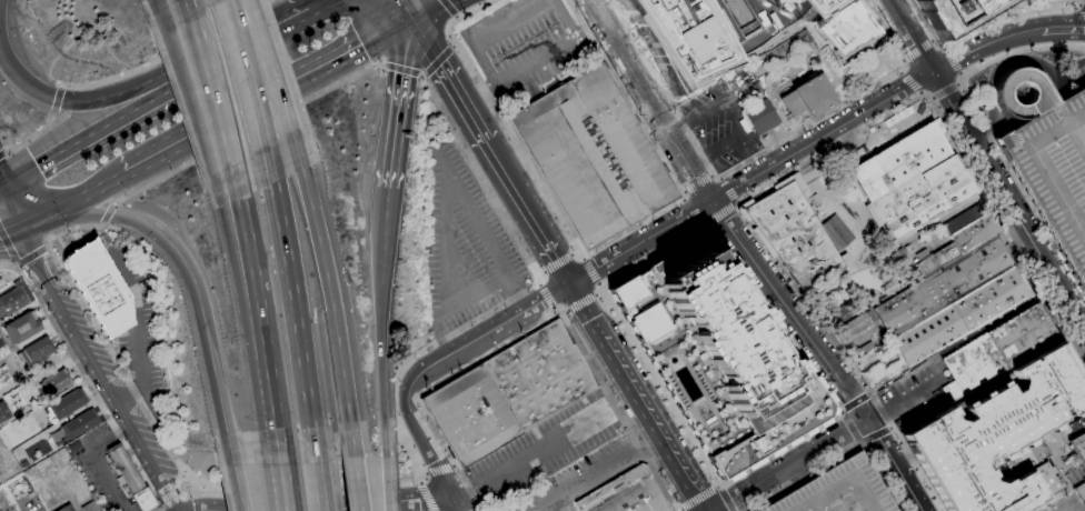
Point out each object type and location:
road: (272, 0)
road: (1077, 2)
road: (158, 4)
road: (1082, 4)
road: (325, 6)
road: (1004, 8)
road: (404, 9)
road: (427, 9)
road: (448, 9)
road: (1082, 10)
road: (1025, 13)
building: (954, 14)
traffic signals: (408, 18)
road: (299, 19)
road: (564, 19)
road: (1063, 27)
building: (847, 28)
building: (705, 31)
road: (479, 33)
road: (910, 36)
road: (956, 38)
road: (256, 40)
road: (932, 40)
road: (985, 43)
parking lot: (526, 46)
road: (943, 48)
road: (753, 50)
road: (916, 50)
road: (1017, 50)
road: (170, 56)
road: (902, 60)
road: (439, 61)
road: (950, 61)
road: (534, 63)
road: (401, 69)
road: (994, 70)
road: (899, 71)
road: (959, 73)
road: (272, 78)
road: (1067, 78)
road: (451, 80)
road: (909, 81)
road: (958, 83)
road: (250, 84)
road: (944, 90)
road: (216, 91)
road: (1044, 91)
road: (919, 93)
road: (102, 97)
road: (267, 97)
building: (809, 97)
road: (1006, 97)
road: (930, 98)
road: (58, 100)
road: (191, 100)
road: (648, 102)
road: (399, 103)
road: (954, 108)
road: (1055, 110)
road: (1073, 112)
road: (1074, 112)
road: (736, 117)
building: (762, 117)
road: (113, 122)
parking lot: (718, 126)
road: (255, 128)
road: (855, 133)
road: (32, 136)
road: (1074, 136)
road: (1073, 140)
road: (1014, 148)
building: (591, 154)
road: (1002, 154)
road: (2, 156)
road: (753, 156)
building: (1048, 158)
parking lot: (1048, 158)
building: (903, 161)
road: (777, 162)
road: (1044, 172)
road: (1043, 173)
road: (711, 174)
road: (970, 174)
road: (719, 178)
road: (697, 183)
road: (1, 187)
road: (1, 190)
traffic signals: (2, 190)
road: (727, 190)
road: (1022, 190)
road: (683, 191)
road: (92, 192)
building: (925, 198)
road: (681, 199)
road: (736, 202)
road: (854, 207)
road: (694, 211)
road: (719, 211)
road: (98, 212)
road: (110, 212)
road: (471, 212)
road: (529, 214)
road: (870, 216)
road: (41, 219)
road: (1013, 222)
road: (704, 223)
road: (1059, 224)
traffic signals: (22, 229)
road: (872, 230)
road: (1047, 231)
building: (835, 233)
road: (11, 234)
building: (794, 236)
road: (859, 237)
road: (1029, 238)
parking lot: (464, 241)
building: (960, 243)
road: (9, 248)
road: (48, 248)
road: (594, 249)
road: (574, 251)
road: (31, 255)
road: (903, 255)
road: (583, 258)
road: (557, 262)
road: (846, 262)
road: (17, 264)
road: (596, 268)
road: (590, 271)
road: (540, 273)
road: (538, 283)
road: (598, 284)
road: (73, 287)
building: (100, 288)
road: (258, 288)
road: (520, 291)
road: (597, 291)
road: (601, 291)
road: (240, 294)
road: (546, 294)
building: (14, 298)
road: (544, 298)
building: (953, 301)
road: (41, 302)
road: (581, 302)
road: (337, 303)
road: (291, 307)
road: (554, 309)
road: (788, 310)
road: (565, 311)
building: (845, 311)
parking lot: (145, 317)
road: (380, 319)
building: (994, 320)
road: (200, 321)
building: (22, 327)
road: (530, 327)
building: (853, 328)
road: (981, 329)
road: (140, 332)
building: (0, 335)
road: (33, 337)
building: (1, 342)
road: (462, 347)
road: (86, 350)
building: (864, 350)
building: (997, 350)
building: (37, 351)
building: (719, 355)
building: (882, 373)
building: (540, 375)
road: (37, 378)
building: (56, 383)
road: (913, 392)
parking lot: (914, 392)
road: (869, 393)
road: (638, 395)
road: (855, 402)
building: (68, 403)
building: (3, 412)
road: (840, 412)
road: (875, 414)
building: (471, 415)
road: (276, 417)
building: (79, 424)
road: (853, 427)
road: (892, 429)
road: (119, 433)
road: (875, 435)
building: (998, 435)
road: (428, 441)
road: (860, 443)
building: (74, 447)
building: (1078, 450)
road: (532, 452)
road: (837, 457)
road: (903, 459)
road: (913, 460)
road: (99, 462)
road: (894, 463)
road: (454, 464)
road: (789, 464)
road: (1054, 465)
parking lot: (99, 468)
road: (439, 469)
road: (590, 471)
road: (1068, 471)
road: (195, 477)
road: (235, 477)
road: (283, 477)
road: (317, 477)
road: (1074, 478)
building: (131, 479)
road: (419, 480)
road: (385, 481)
road: (357, 482)
road: (717, 485)
building: (838, 490)
building: (1081, 492)
road: (243, 493)
building: (625, 493)
road: (168, 494)
road: (426, 497)
road: (697, 499)
road: (724, 499)
road: (159, 500)
road: (376, 504)
road: (459, 504)
building: (90, 507)
building: (66, 509)
road: (210, 510)
road: (677, 510)

